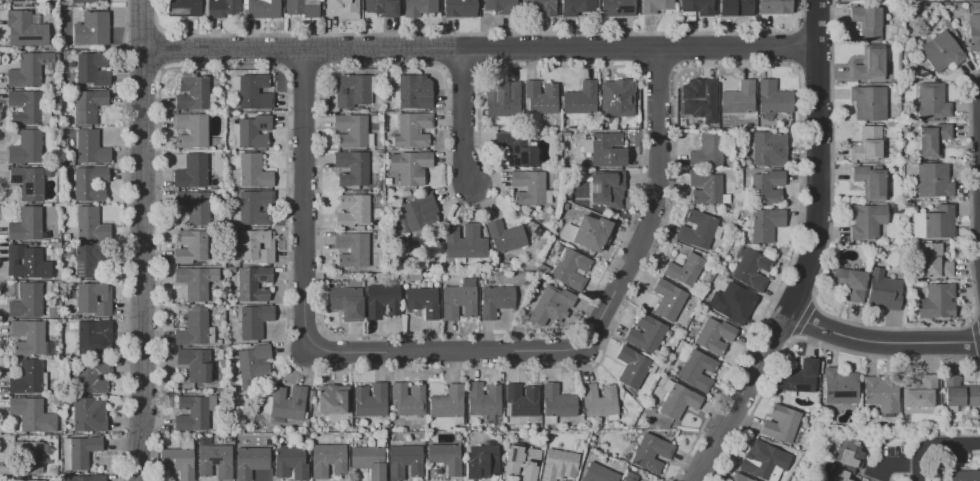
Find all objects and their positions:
building: (18, 0)
building: (88, 1)
building: (655, 5)
building: (501, 6)
building: (541, 6)
building: (383, 7)
building: (419, 7)
building: (576, 7)
building: (697, 7)
building: (736, 7)
building: (774, 7)
building: (183, 8)
building: (223, 8)
building: (301, 8)
building: (342, 8)
building: (460, 8)
building: (616, 8)
building: (261, 9)
building: (867, 22)
road: (141, 26)
road: (813, 26)
building: (91, 29)
building: (25, 30)
building: (973, 32)
road: (476, 34)
road: (797, 46)
road: (158, 47)
road: (478, 47)
road: (635, 49)
road: (479, 50)
road: (674, 50)
road: (283, 51)
road: (320, 51)
road: (442, 51)
building: (941, 51)
building: (868, 65)
road: (654, 66)
road: (460, 67)
road: (814, 67)
building: (29, 68)
building: (90, 68)
road: (141, 68)
road: (301, 68)
road: (675, 68)
road: (796, 68)
road: (161, 69)
road: (282, 69)
building: (252, 90)
building: (354, 90)
building: (413, 92)
building: (192, 94)
building: (541, 97)
building: (773, 97)
building: (504, 98)
building: (581, 98)
building: (738, 98)
building: (616, 99)
building: (700, 99)
building: (932, 101)
building: (868, 102)
building: (88, 106)
building: (30, 107)
road: (461, 116)
building: (412, 129)
building: (191, 130)
building: (351, 130)
building: (250, 131)
building: (565, 133)
building: (932, 140)
building: (867, 144)
building: (25, 148)
building: (90, 148)
building: (517, 149)
building: (768, 149)
building: (606, 150)
building: (707, 151)
road: (640, 165)
building: (410, 167)
building: (583, 167)
building: (351, 169)
building: (191, 171)
building: (251, 172)
building: (933, 180)
building: (870, 181)
building: (29, 182)
building: (89, 183)
building: (528, 186)
building: (705, 187)
building: (766, 187)
building: (606, 188)
road: (302, 197)
building: (195, 207)
building: (252, 208)
building: (353, 211)
building: (417, 212)
building: (866, 220)
building: (765, 223)
building: (933, 223)
building: (90, 224)
building: (26, 225)
building: (359, 227)
building: (697, 229)
building: (537, 231)
building: (588, 233)
building: (505, 236)
road: (123, 240)
road: (141, 240)
building: (465, 242)
building: (191, 246)
building: (256, 246)
building: (554, 246)
building: (352, 249)
road: (809, 253)
building: (89, 258)
building: (933, 261)
building: (26, 262)
building: (750, 267)
building: (571, 269)
building: (684, 270)
building: (410, 277)
building: (429, 279)
building: (196, 282)
building: (253, 283)
building: (849, 283)
building: (882, 293)
building: (93, 299)
building: (668, 299)
building: (459, 300)
building: (496, 300)
building: (27, 301)
building: (349, 301)
building: (381, 301)
building: (421, 301)
building: (936, 301)
building: (732, 303)
building: (551, 305)
building: (253, 321)
road: (868, 325)
road: (591, 327)
building: (194, 330)
building: (645, 333)
building: (91, 336)
building: (714, 336)
building: (30, 338)
road: (881, 341)
building: (195, 364)
building: (254, 367)
road: (465, 367)
building: (632, 368)
building: (697, 370)
building: (92, 375)
building: (799, 376)
building: (29, 378)
building: (839, 386)
building: (919, 393)
building: (958, 393)
building: (882, 394)
building: (332, 399)
building: (408, 399)
building: (483, 399)
building: (370, 400)
building: (522, 400)
building: (677, 400)
building: (557, 401)
building: (599, 402)
building: (285, 403)
building: (447, 403)
building: (195, 414)
building: (32, 415)
building: (88, 415)
building: (781, 423)
road: (939, 447)
building: (79, 451)
building: (651, 453)
building: (27, 458)
building: (446, 458)
building: (848, 458)
building: (179, 459)
building: (214, 460)
building: (328, 460)
building: (250, 461)
building: (369, 461)
building: (763, 461)
building: (405, 462)
building: (481, 462)
building: (522, 462)
building: (290, 463)
building: (559, 465)
building: (598, 473)
building: (965, 475)
building: (630, 477)
building: (84, 478)
building: (740, 478)
building: (27, 480)
building: (867, 480)

